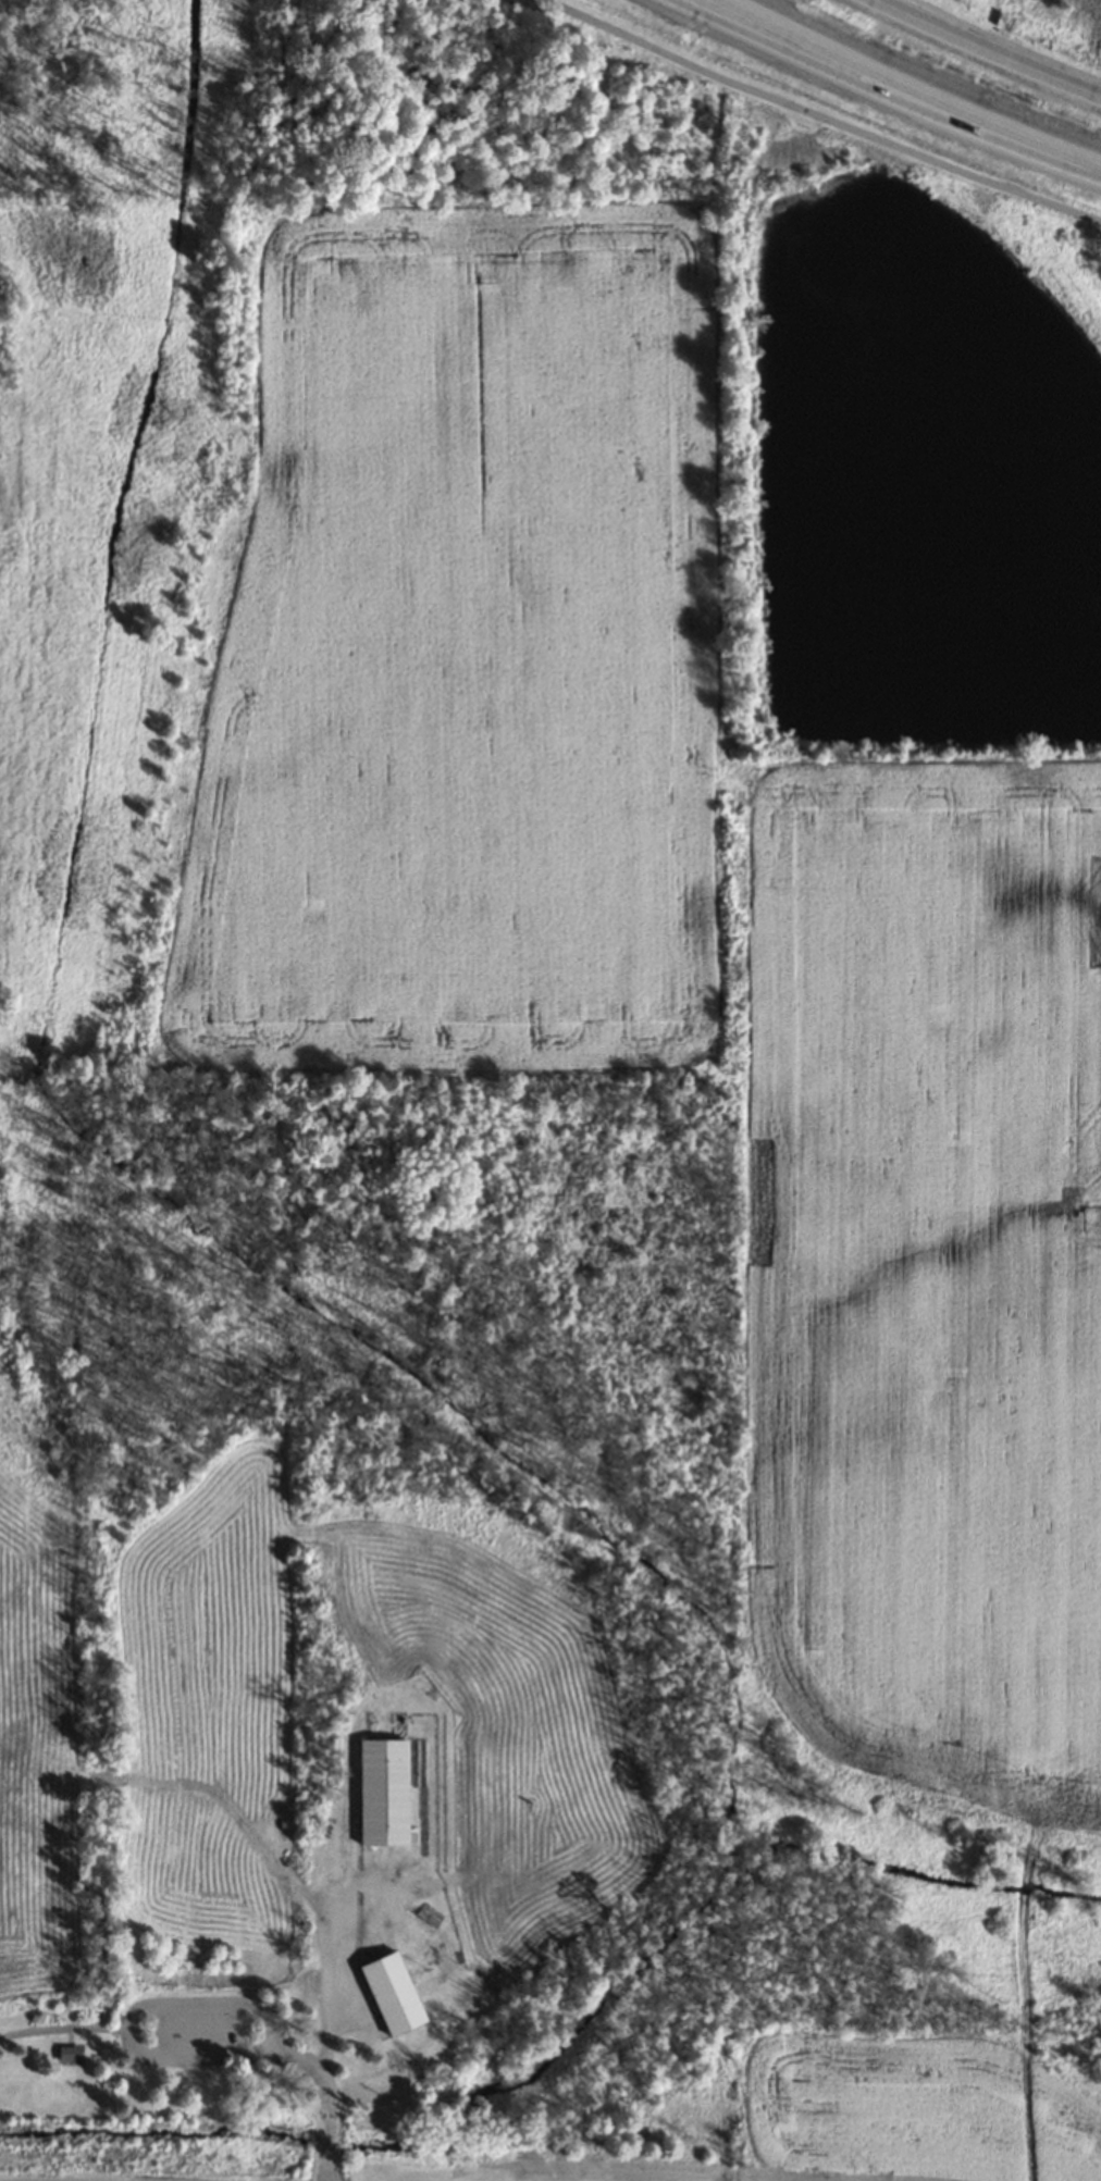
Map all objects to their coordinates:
road: (986, 50)
road: (910, 86)
road: (884, 95)
road: (815, 113)
building: (381, 1792)
road: (329, 1957)
building: (391, 1994)
road: (126, 2018)
road: (61, 2028)
building: (67, 2054)
road: (325, 2096)

